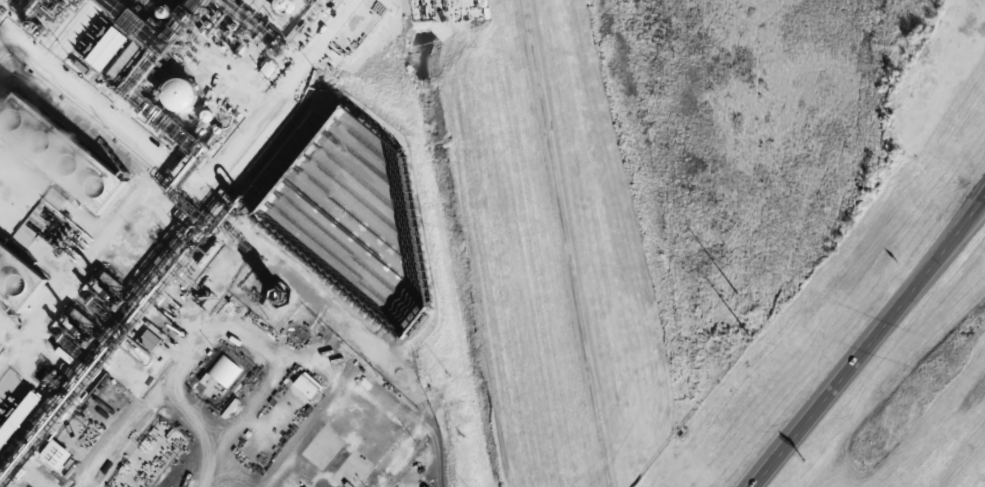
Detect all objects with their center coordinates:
building: (7, 6)
building: (107, 48)
building: (124, 59)
road: (13, 64)
building: (180, 94)
building: (206, 116)
building: (72, 161)
road: (242, 235)
road: (568, 243)
building: (278, 294)
building: (148, 339)
road: (871, 342)
building: (220, 367)
building: (301, 386)
building: (15, 412)
building: (373, 435)
building: (52, 450)

